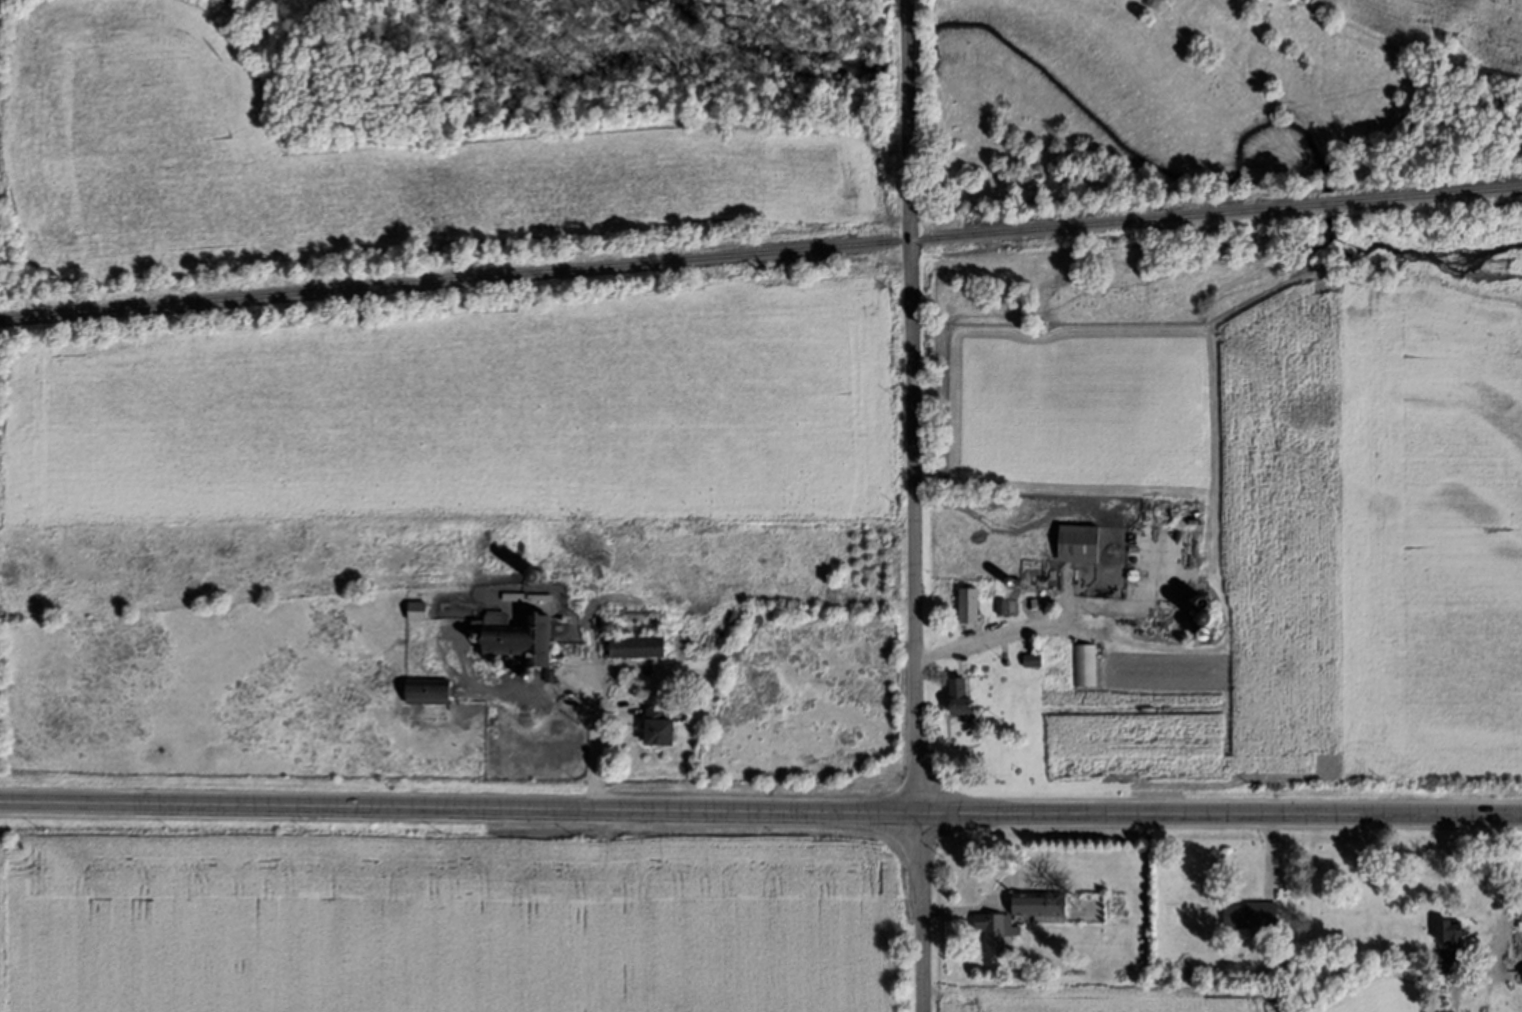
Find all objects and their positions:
crop: (354, 160)
railway: (760, 252)
road: (913, 411)
building: (1083, 544)
building: (973, 605)
building: (420, 611)
building: (519, 638)
building: (643, 647)
building: (1048, 661)
building: (1084, 665)
building: (432, 691)
building: (967, 698)
building: (665, 728)
road: (592, 739)
road: (760, 815)
building: (1045, 906)
building: (1255, 915)
road: (919, 917)
building: (997, 934)
building: (1457, 934)
road: (1501, 938)
building: (1453, 960)
building: (1445, 1011)

